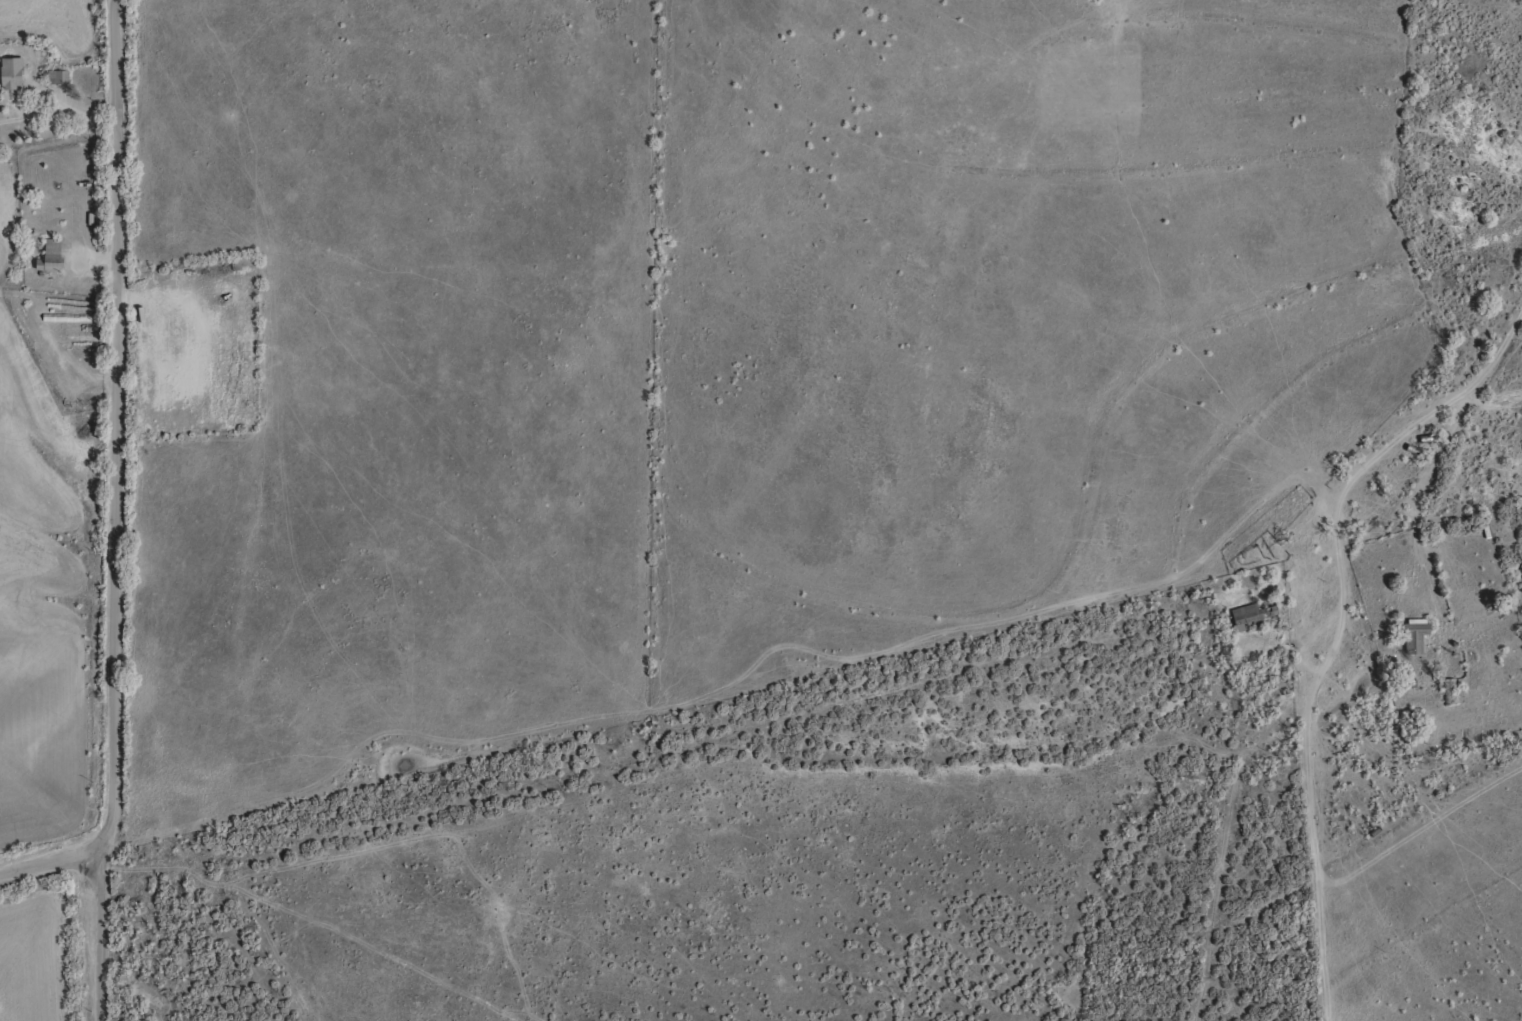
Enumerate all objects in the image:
building: (49, 261)
road: (120, 511)
road: (1342, 612)
building: (1244, 623)
building: (1413, 644)
road: (55, 859)

